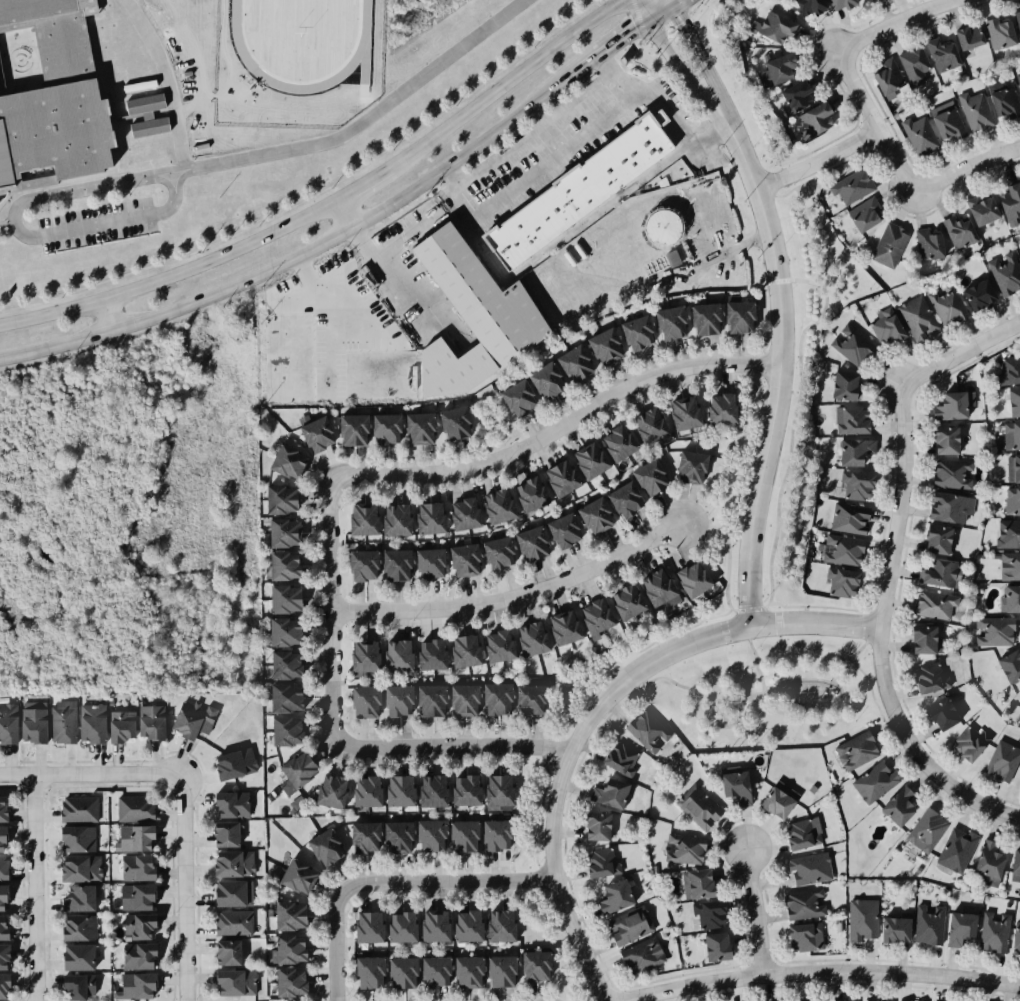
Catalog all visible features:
building: (864, 1)
building: (840, 6)
road: (656, 7)
building: (807, 7)
traffic signals: (661, 14)
building: (1015, 19)
road: (893, 23)
building: (771, 26)
building: (996, 30)
road: (630, 34)
building: (968, 39)
building: (939, 53)
road: (702, 65)
building: (913, 65)
building: (769, 67)
building: (881, 74)
road: (682, 76)
road: (616, 78)
road: (166, 80)
building: (1017, 81)
building: (789, 96)
building: (53, 100)
building: (1002, 100)
building: (974, 111)
building: (147, 115)
building: (813, 119)
road: (363, 120)
building: (945, 121)
road: (871, 123)
road: (546, 129)
building: (914, 130)
road: (574, 144)
road: (814, 161)
road: (967, 172)
building: (850, 185)
building: (574, 188)
building: (1005, 199)
road: (334, 203)
building: (979, 211)
building: (863, 214)
road: (47, 215)
road: (572, 227)
building: (663, 227)
building: (957, 231)
road: (19, 233)
building: (926, 238)
building: (887, 245)
road: (306, 252)
road: (707, 260)
building: (456, 270)
building: (1003, 273)
road: (389, 277)
road: (777, 280)
road: (806, 280)
road: (763, 281)
building: (975, 292)
building: (943, 303)
building: (914, 314)
road: (763, 315)
road: (104, 316)
building: (737, 316)
building: (704, 317)
building: (665, 321)
building: (887, 323)
building: (633, 332)
building: (848, 341)
building: (601, 344)
road: (763, 349)
road: (958, 354)
building: (570, 359)
building: (1007, 362)
road: (763, 363)
road: (777, 371)
building: (540, 377)
road: (759, 377)
park: (805, 379)
building: (838, 382)
road: (799, 392)
building: (514, 397)
building: (1004, 399)
building: (948, 400)
building: (717, 406)
building: (678, 412)
building: (852, 417)
building: (455, 423)
building: (645, 425)
road: (557, 426)
building: (386, 428)
building: (420, 428)
building: (353, 430)
building: (315, 431)
building: (1010, 434)
building: (940, 439)
building: (614, 441)
building: (854, 451)
road: (749, 458)
building: (586, 459)
building: (288, 461)
building: (687, 466)
building: (1011, 466)
building: (645, 474)
building: (950, 474)
building: (557, 477)
building: (852, 484)
building: (525, 491)
building: (619, 496)
building: (282, 499)
building: (1005, 500)
building: (493, 504)
building: (944, 508)
building: (590, 512)
building: (459, 514)
building: (425, 517)
building: (359, 518)
building: (391, 519)
building: (846, 519)
building: (558, 527)
building: (277, 532)
building: (1007, 532)
building: (932, 539)
building: (527, 543)
park: (719, 551)
building: (841, 552)
building: (493, 554)
road: (727, 559)
building: (458, 561)
building: (426, 563)
building: (357, 565)
building: (1009, 565)
building: (278, 566)
building: (391, 566)
building: (933, 573)
building: (690, 578)
building: (841, 582)
building: (654, 586)
road: (871, 597)
building: (1009, 597)
road: (511, 599)
building: (622, 599)
building: (279, 600)
road: (817, 605)
road: (328, 606)
building: (928, 606)
road: (868, 607)
building: (591, 613)
building: (561, 627)
building: (992, 630)
building: (278, 632)
road: (878, 636)
building: (529, 637)
building: (917, 639)
building: (495, 646)
building: (462, 649)
building: (428, 653)
road: (629, 653)
road: (854, 653)
building: (361, 656)
building: (395, 656)
road: (753, 657)
building: (279, 665)
building: (1007, 666)
building: (923, 674)
road: (776, 686)
road: (869, 687)
park: (766, 692)
building: (281, 698)
building: (493, 698)
building: (527, 700)
building: (393, 701)
building: (426, 701)
building: (460, 701)
building: (1019, 701)
building: (360, 702)
road: (594, 710)
building: (938, 714)
building: (193, 719)
building: (33, 722)
building: (152, 722)
building: (8, 723)
building: (62, 723)
building: (91, 724)
building: (121, 726)
park: (776, 727)
road: (722, 728)
building: (646, 729)
building: (283, 732)
road: (448, 745)
building: (965, 745)
building: (855, 750)
building: (617, 757)
building: (1000, 761)
building: (235, 764)
building: (296, 769)
road: (87, 774)
building: (732, 781)
building: (873, 782)
building: (329, 789)
building: (430, 790)
building: (494, 790)
building: (363, 791)
building: (398, 791)
building: (462, 791)
building: (606, 793)
building: (771, 802)
building: (130, 804)
building: (698, 804)
building: (230, 805)
building: (895, 805)
building: (76, 808)
building: (0, 813)
building: (592, 826)
building: (800, 830)
building: (925, 832)
building: (494, 834)
building: (224, 835)
building: (432, 835)
building: (465, 835)
building: (399, 836)
building: (132, 837)
building: (366, 837)
building: (1, 839)
building: (74, 839)
building: (683, 845)
building: (327, 847)
building: (954, 850)
building: (597, 857)
building: (985, 861)
building: (230, 863)
building: (132, 866)
building: (806, 866)
building: (1012, 866)
building: (3, 869)
building: (76, 869)
building: (300, 877)
building: (694, 881)
road: (443, 884)
road: (34, 888)
road: (183, 890)
building: (226, 892)
building: (611, 896)
building: (1, 897)
building: (134, 897)
building: (74, 898)
building: (802, 903)
road: (753, 911)
building: (708, 913)
building: (291, 916)
building: (859, 918)
building: (233, 923)
building: (926, 924)
building: (463, 925)
building: (495, 925)
building: (956, 925)
building: (890, 926)
building: (3, 927)
building: (132, 927)
building: (365, 927)
building: (397, 927)
building: (431, 927)
building: (76, 928)
building: (626, 928)
building: (990, 932)
building: (796, 936)
building: (1015, 940)
road: (336, 945)
building: (711, 945)
building: (290, 951)
building: (225, 953)
building: (641, 955)
building: (72, 956)
building: (134, 956)
building: (2, 957)
building: (530, 964)
building: (430, 970)
building: (362, 972)
building: (464, 972)
building: (496, 972)
road: (820, 973)
building: (397, 974)
building: (292, 982)
building: (231, 983)
building: (132, 985)
building: (3, 987)
building: (74, 987)
building: (719, 1000)
building: (841, 1000)

